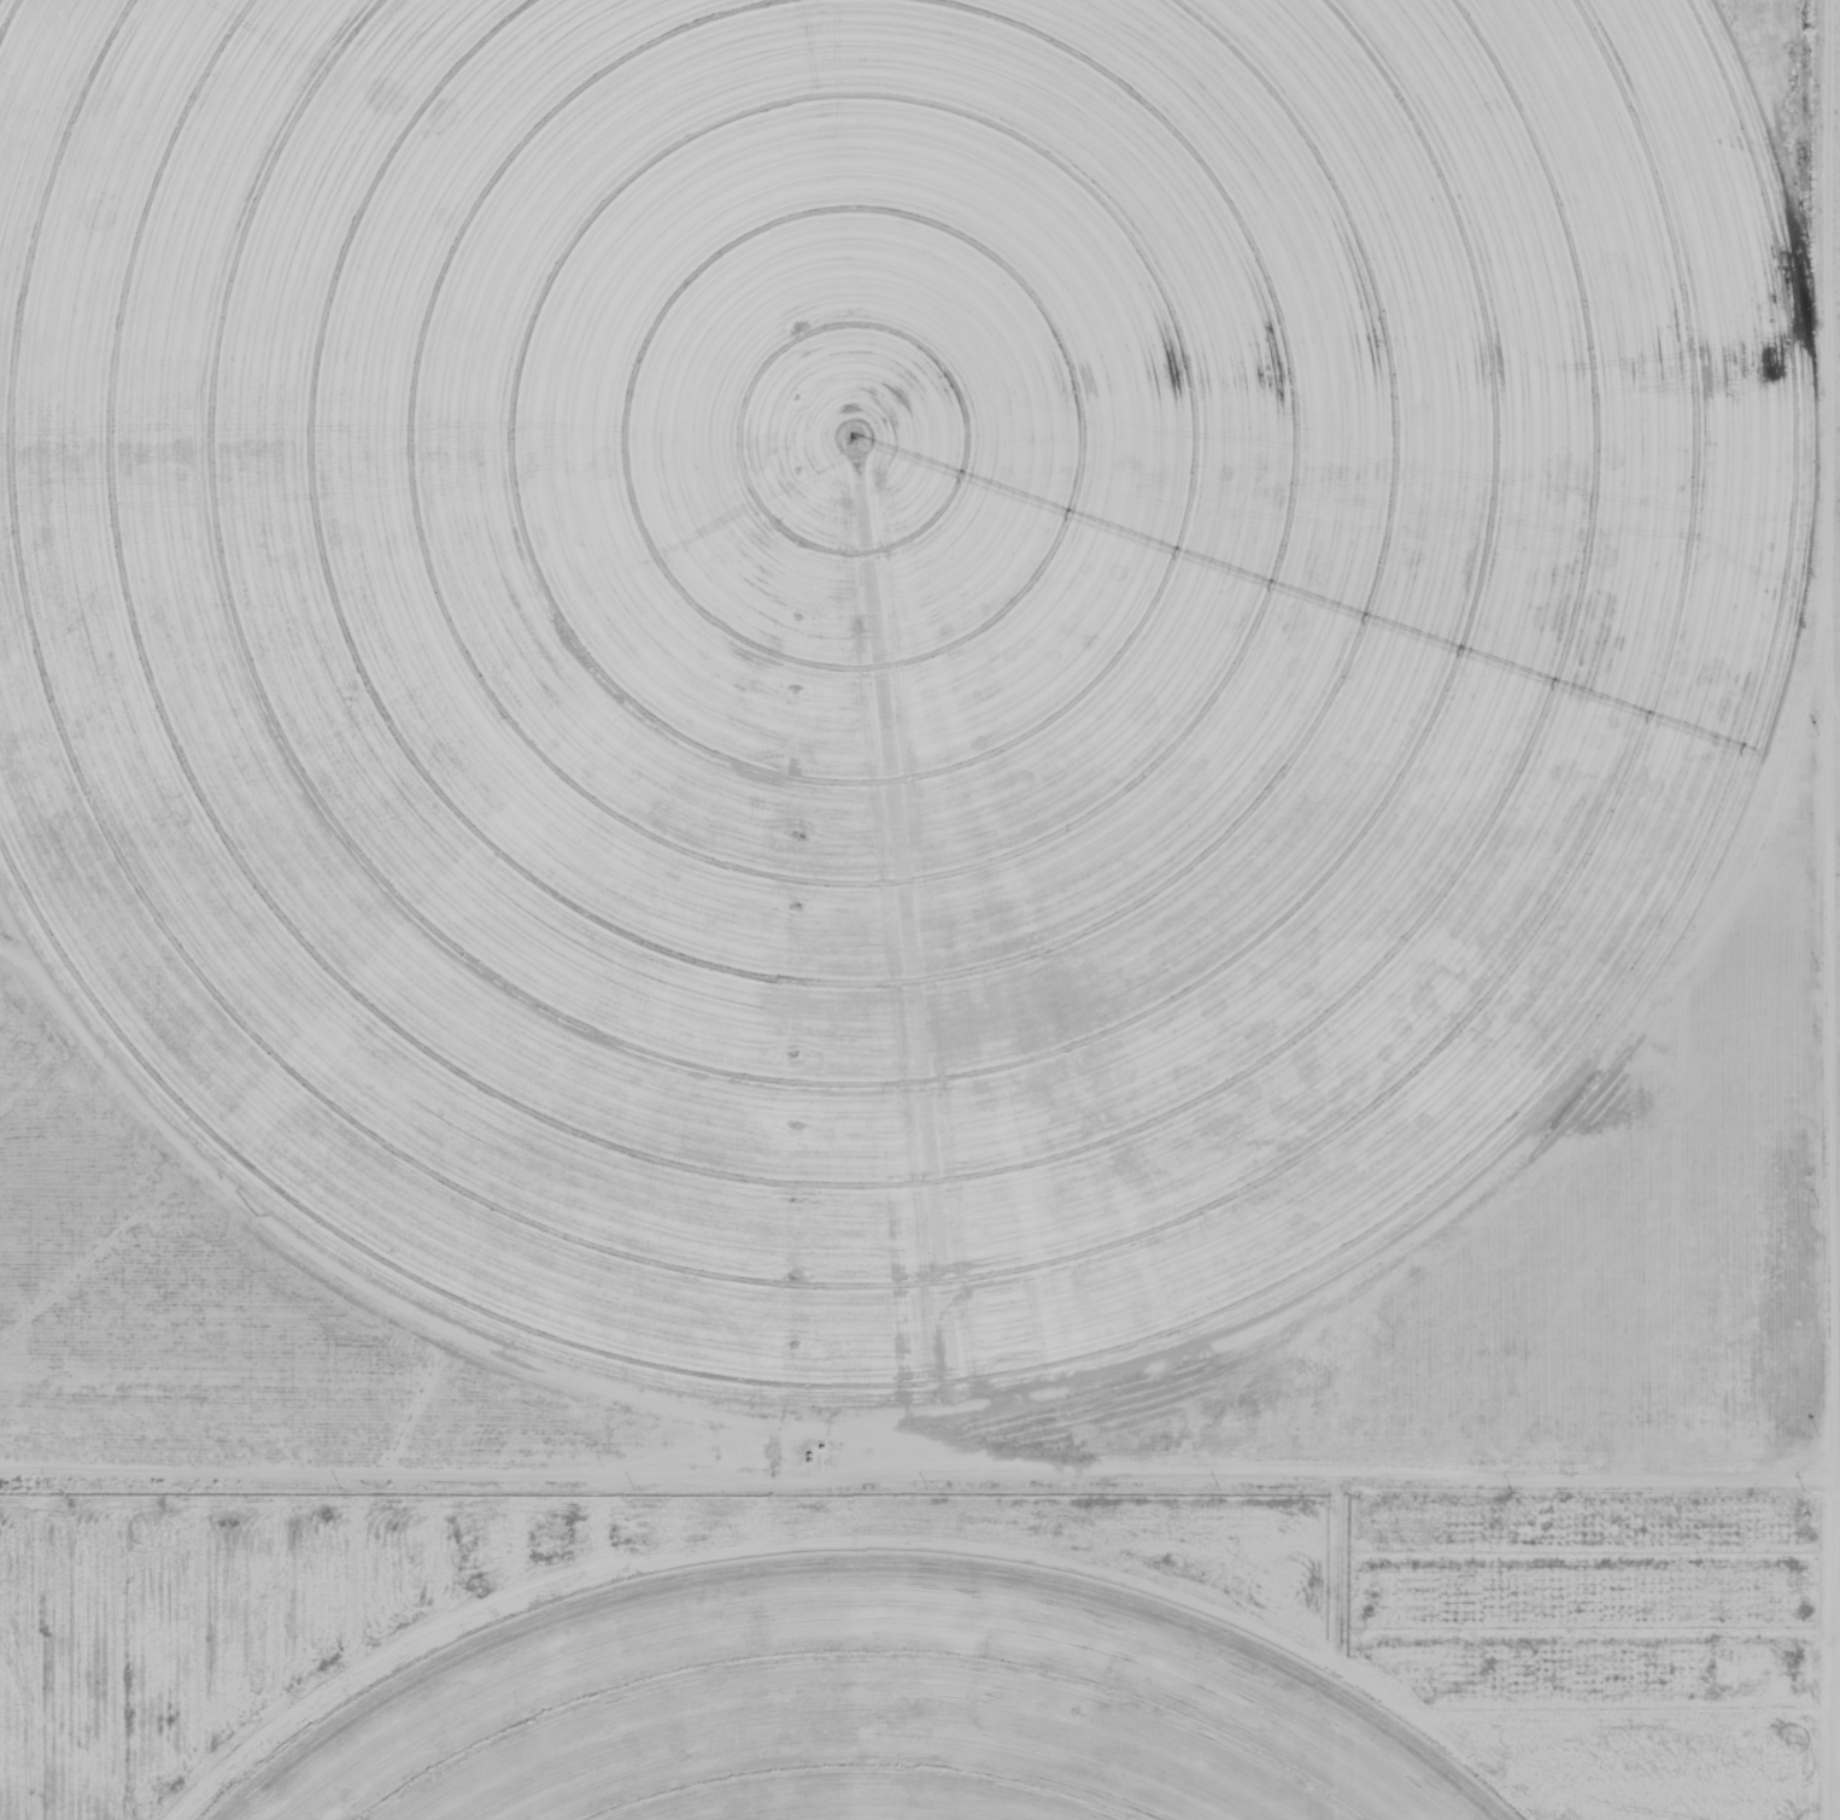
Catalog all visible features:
crop: (879, 625)
road: (920, 1455)
crop: (862, 1711)

